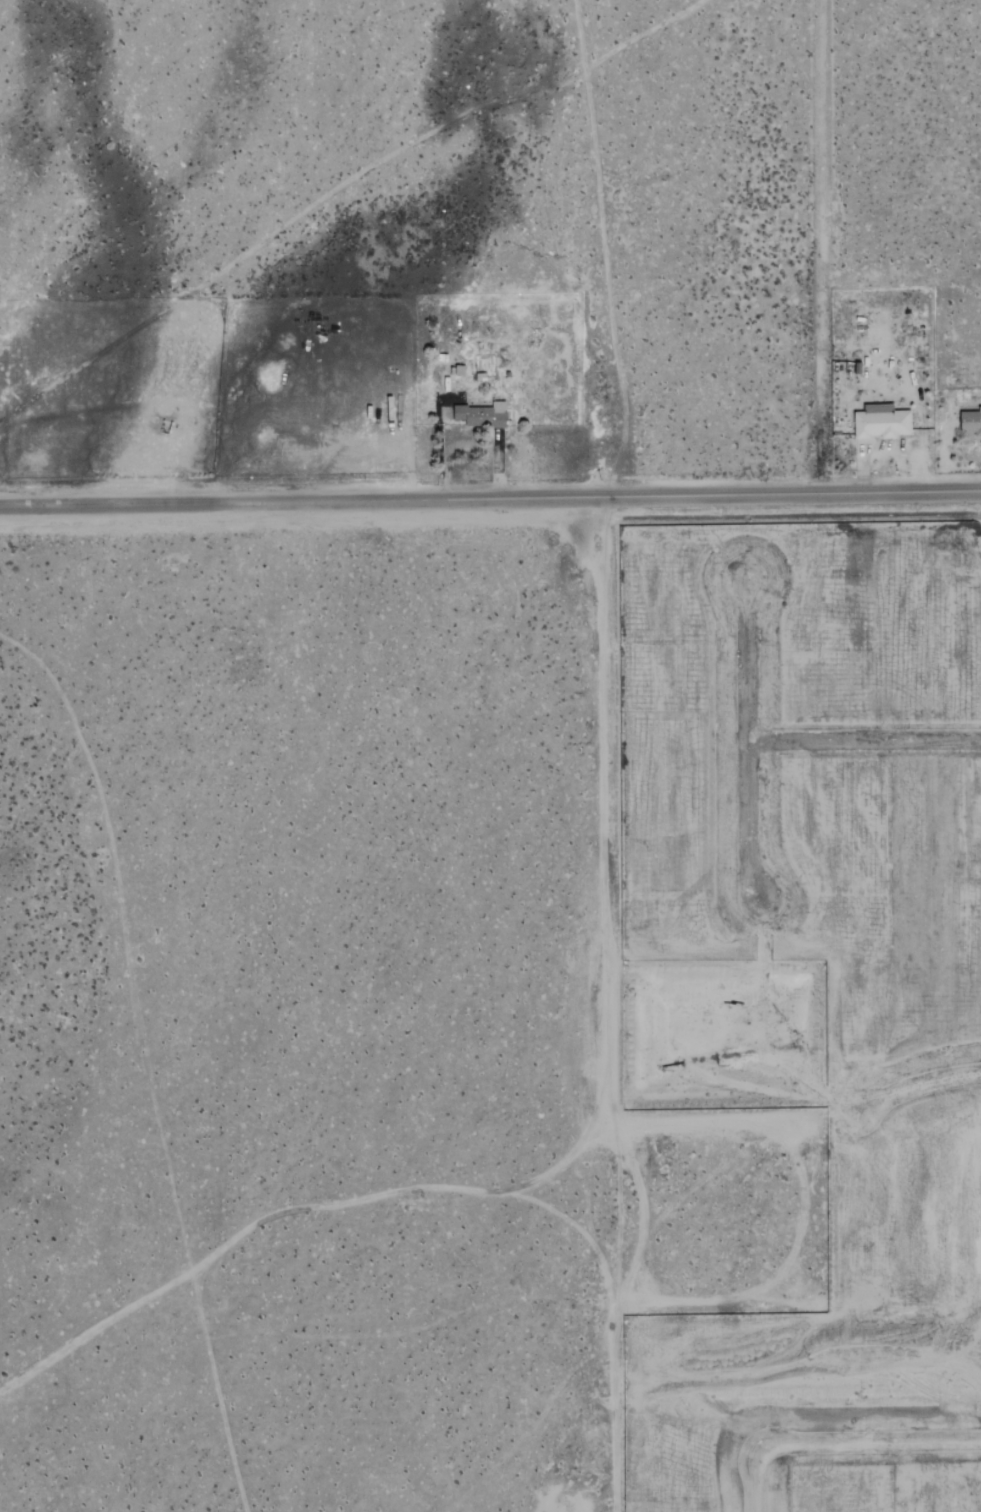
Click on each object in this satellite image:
road: (337, 187)
road: (818, 247)
building: (482, 415)
building: (970, 420)
building: (881, 421)
road: (490, 499)
road: (863, 734)
road: (746, 739)
road: (600, 896)
road: (143, 1059)
road: (918, 1086)
road: (833, 1445)

